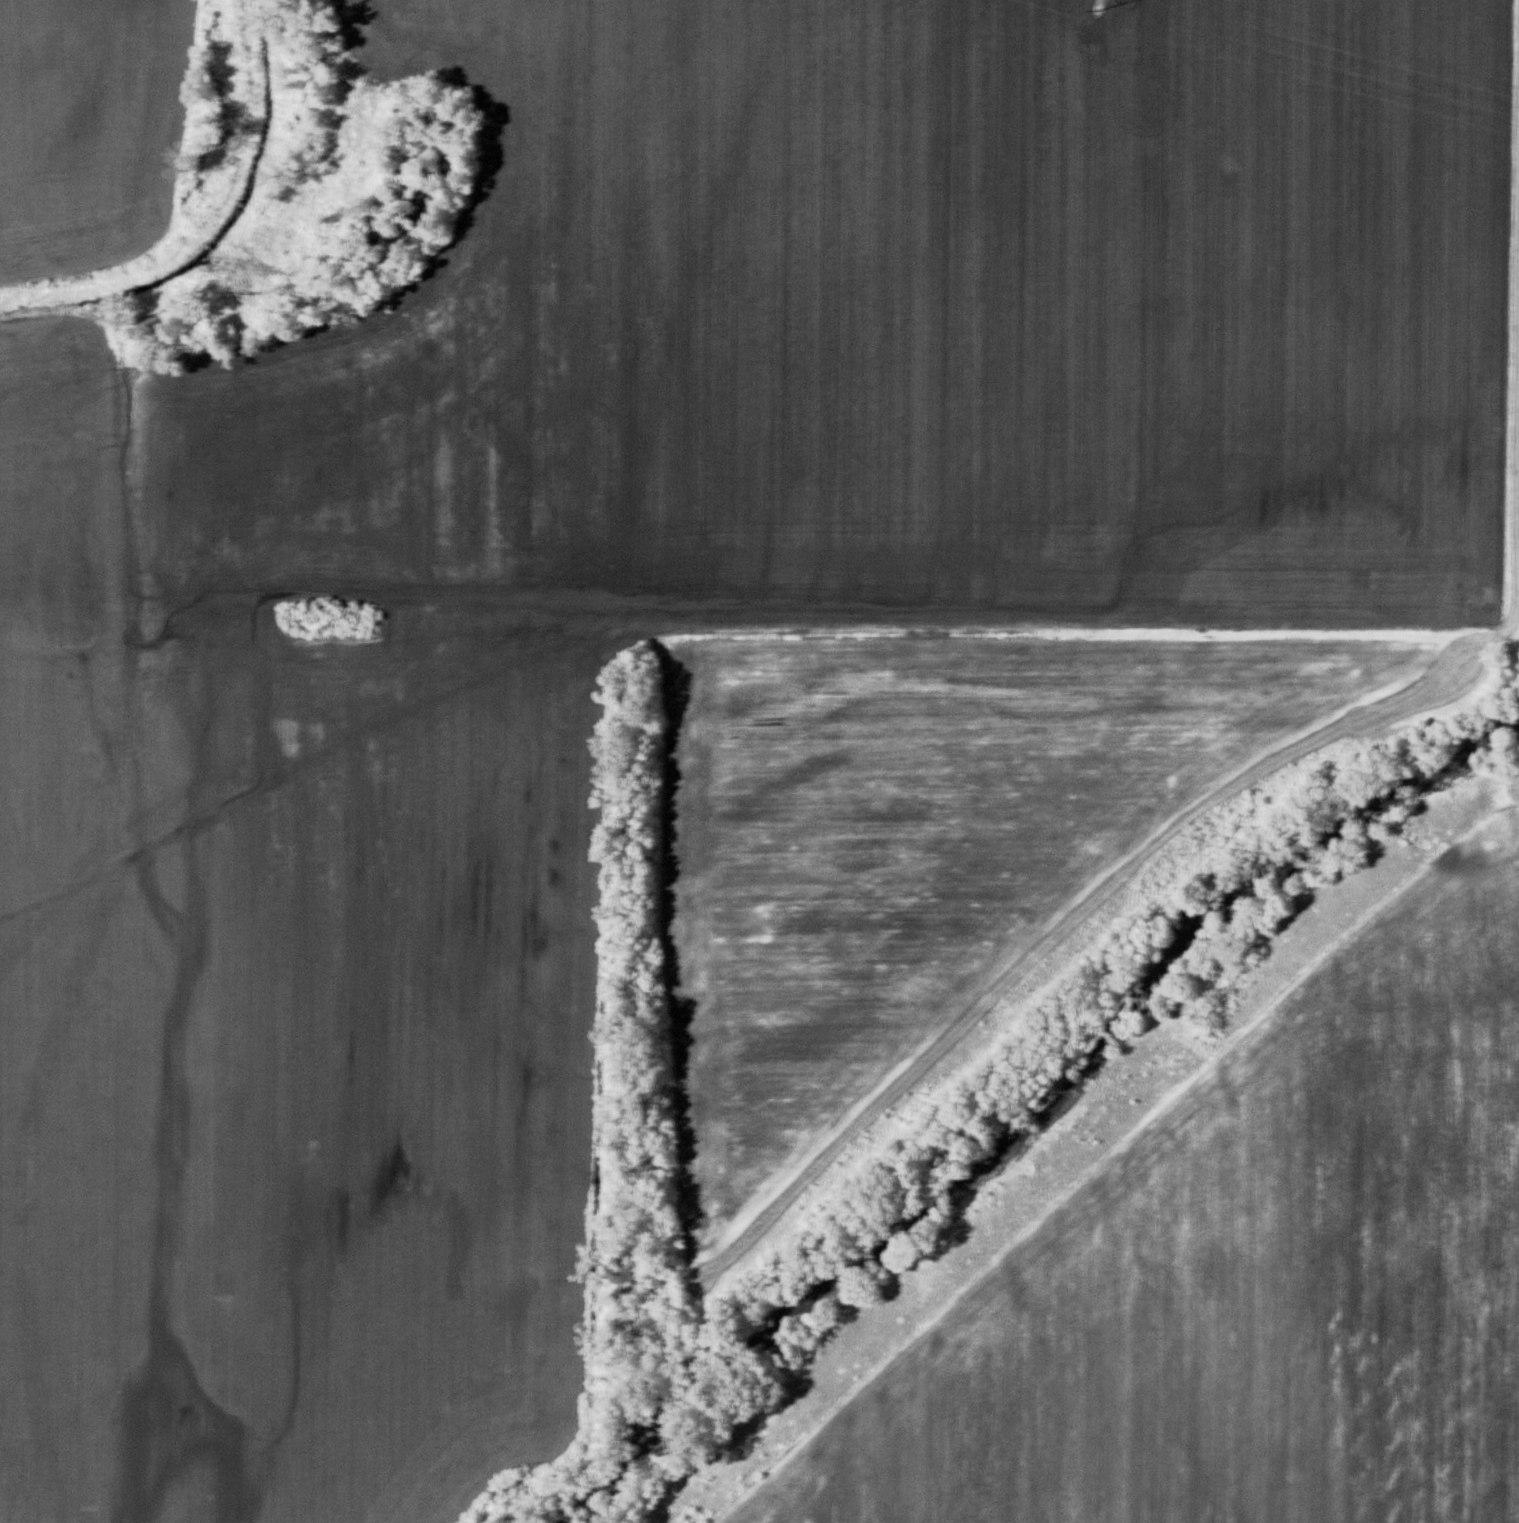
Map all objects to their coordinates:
power tower: (1098, 2)
road: (1509, 332)
river: (1013, 1090)

